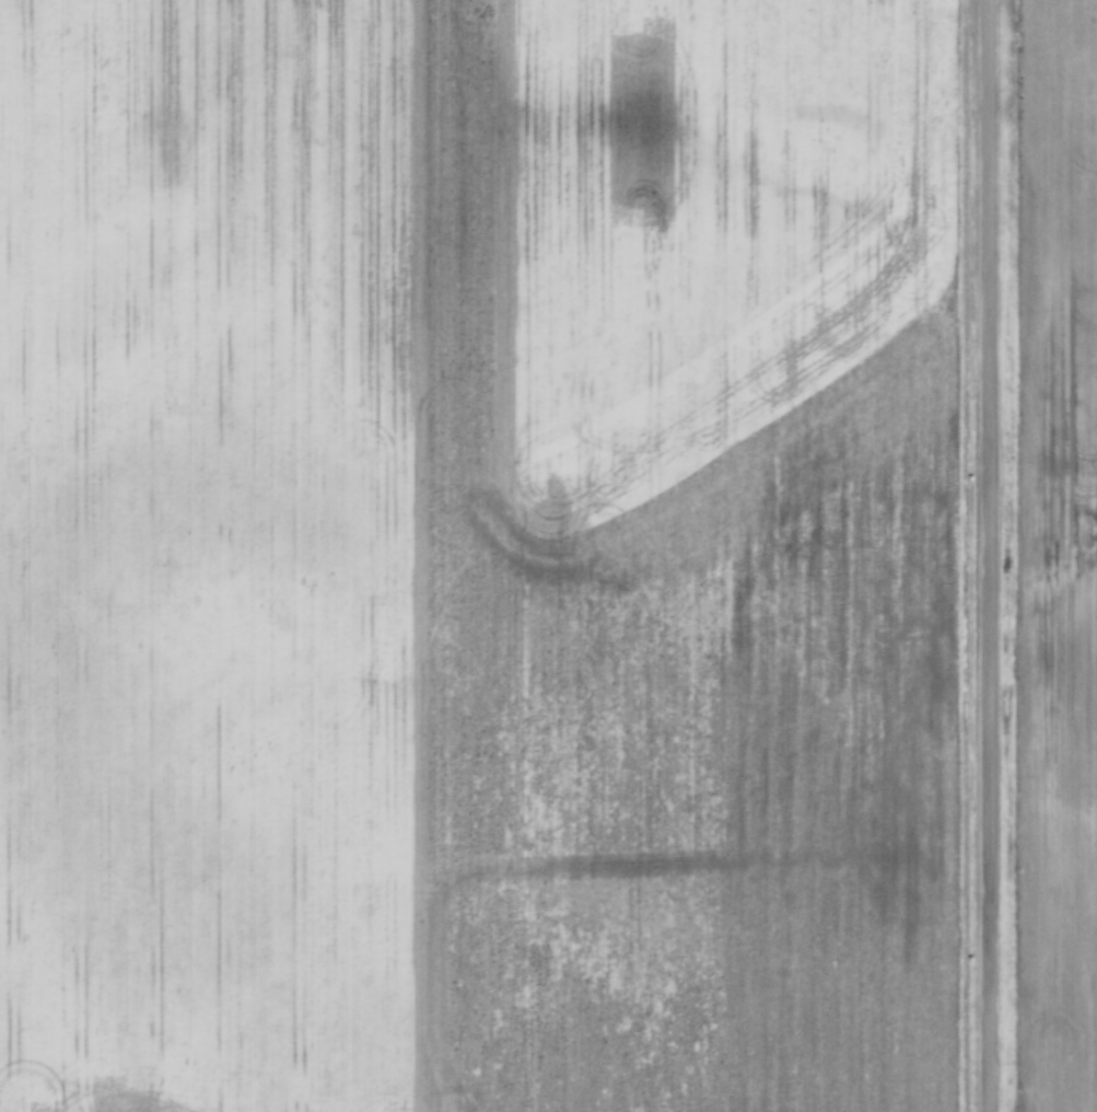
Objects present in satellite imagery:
road: (991, 556)

